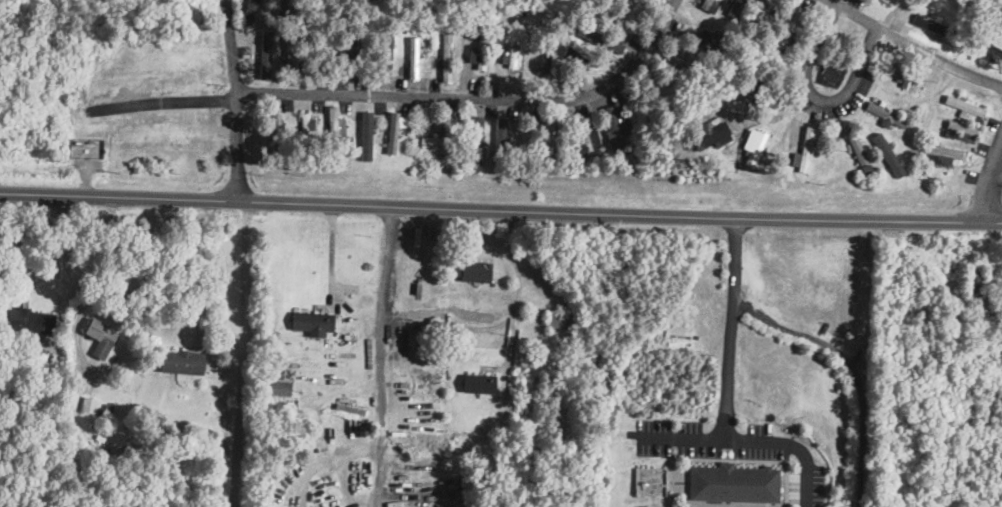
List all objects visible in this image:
building: (710, 4)
building: (732, 5)
building: (283, 10)
building: (250, 12)
building: (929, 23)
building: (600, 38)
road: (912, 43)
building: (515, 47)
building: (480, 48)
building: (991, 49)
building: (324, 51)
building: (266, 54)
building: (356, 54)
building: (292, 55)
building: (385, 56)
building: (413, 56)
building: (394, 57)
building: (446, 57)
building: (578, 57)
road: (477, 97)
road: (817, 97)
road: (237, 99)
road: (166, 101)
building: (886, 114)
building: (333, 123)
building: (616, 127)
building: (277, 128)
building: (357, 130)
building: (712, 130)
building: (305, 131)
building: (500, 133)
building: (366, 135)
building: (393, 138)
building: (477, 139)
building: (587, 141)
building: (434, 143)
building: (753, 145)
building: (803, 149)
building: (940, 153)
building: (888, 154)
road: (995, 187)
road: (500, 211)
road: (60, 253)
building: (477, 271)
building: (560, 318)
building: (31, 321)
building: (313, 323)
road: (496, 324)
road: (838, 335)
building: (101, 337)
building: (347, 337)
road: (241, 354)
road: (379, 356)
building: (182, 362)
building: (482, 382)
building: (280, 388)
building: (89, 405)
building: (109, 408)
building: (350, 410)
road: (725, 420)
building: (108, 429)
road: (683, 432)
building: (730, 484)

